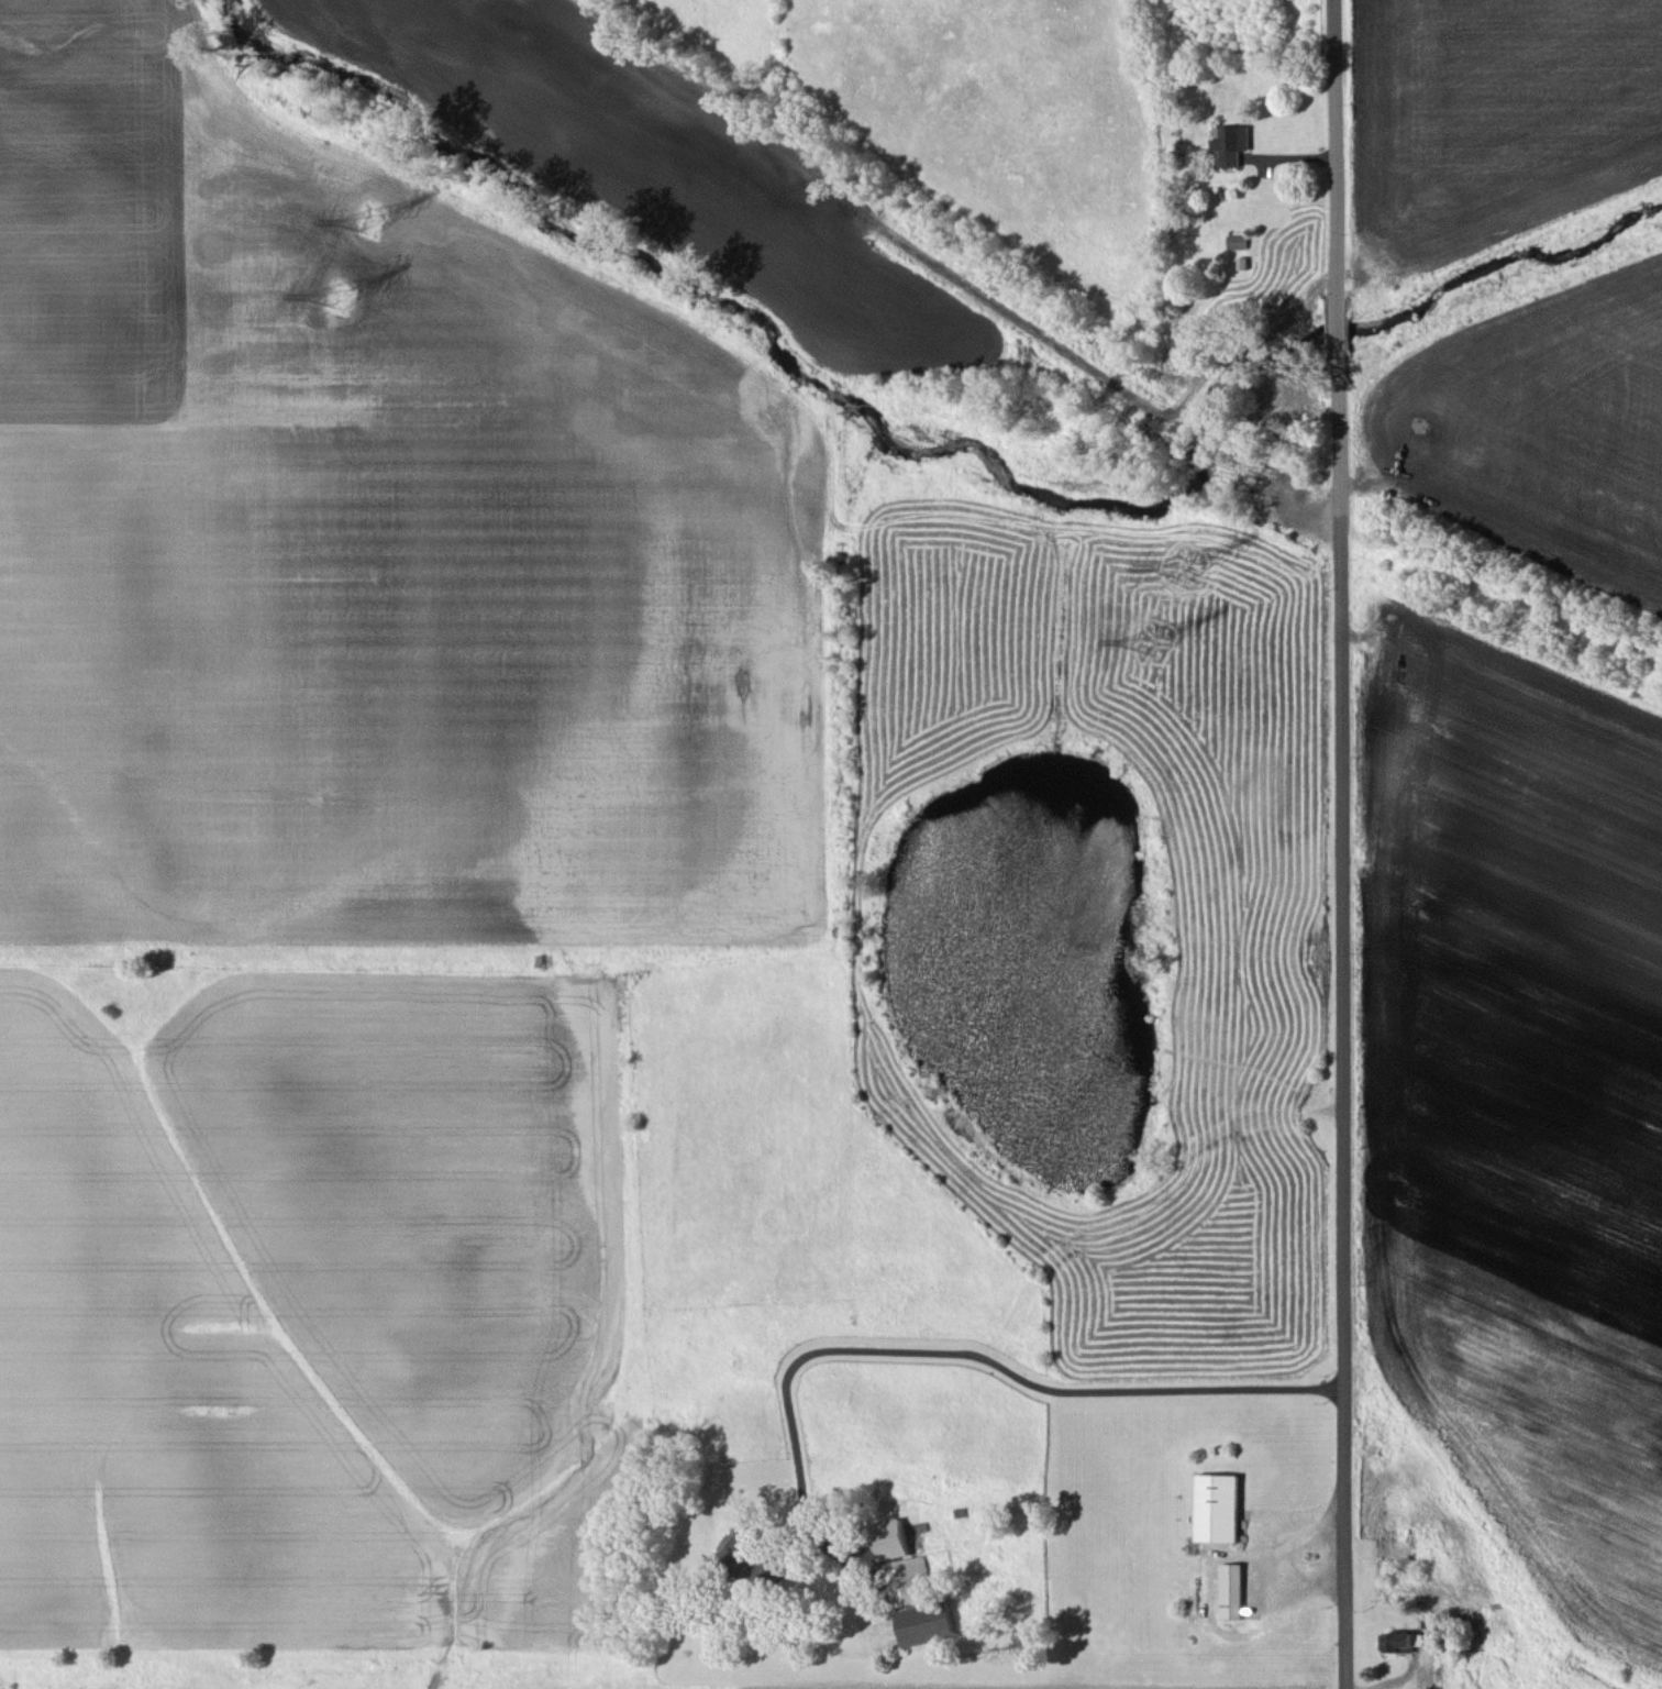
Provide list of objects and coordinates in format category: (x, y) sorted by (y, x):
building: (1231, 143)
power tower: (369, 221)
building: (1236, 241)
power tower: (340, 296)
power tower: (1185, 567)
power tower: (1154, 641)
road: (1342, 843)
road: (984, 1357)
building: (1218, 1506)
building: (891, 1537)
building: (749, 1556)
building: (908, 1578)
building: (1231, 1589)
building: (926, 1622)
building: (1400, 1641)

